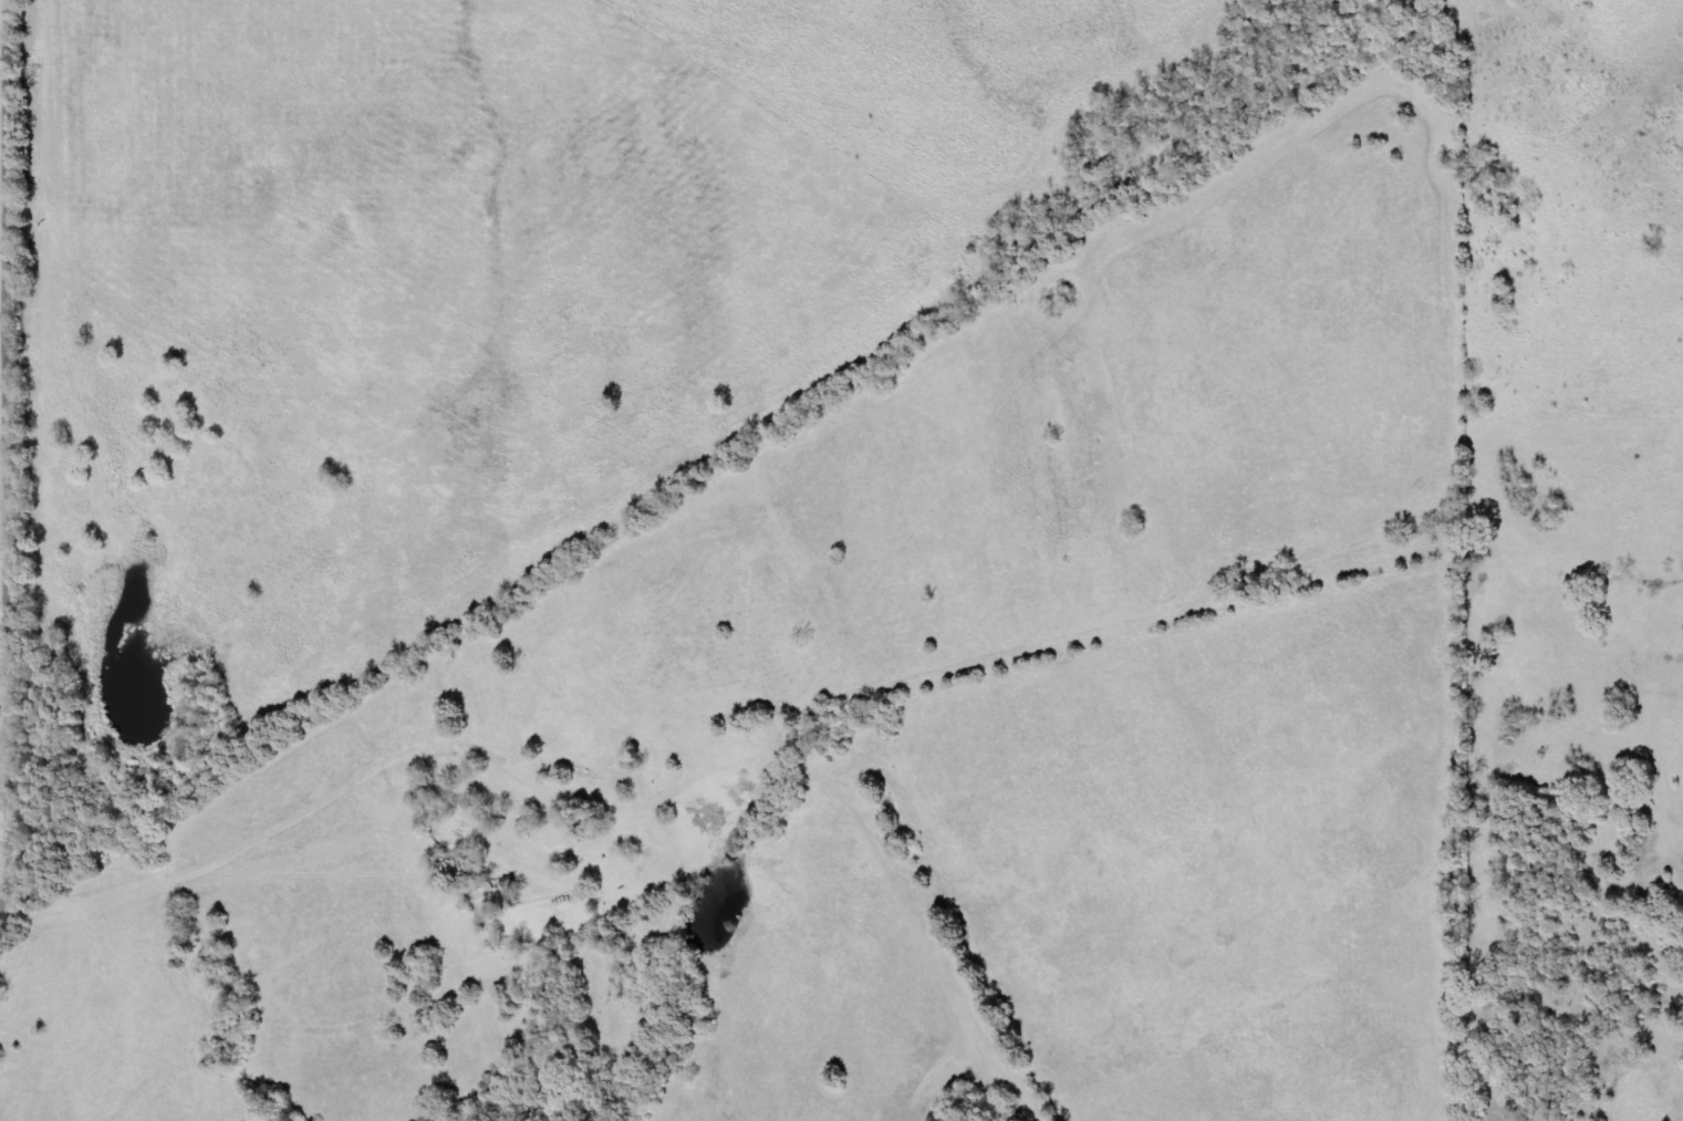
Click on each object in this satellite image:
road: (3, 835)

